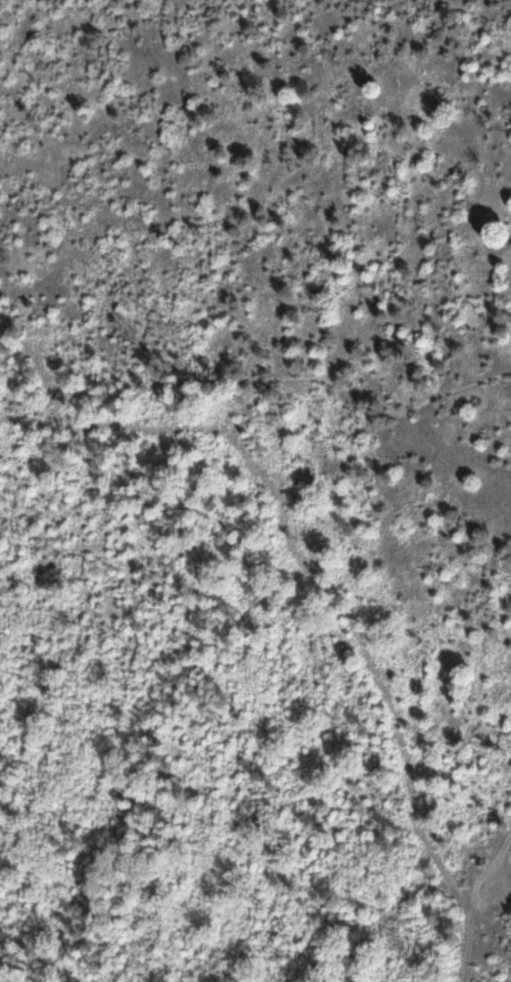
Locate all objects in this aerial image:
road: (43, 378)
road: (197, 515)
road: (361, 616)
road: (487, 910)

